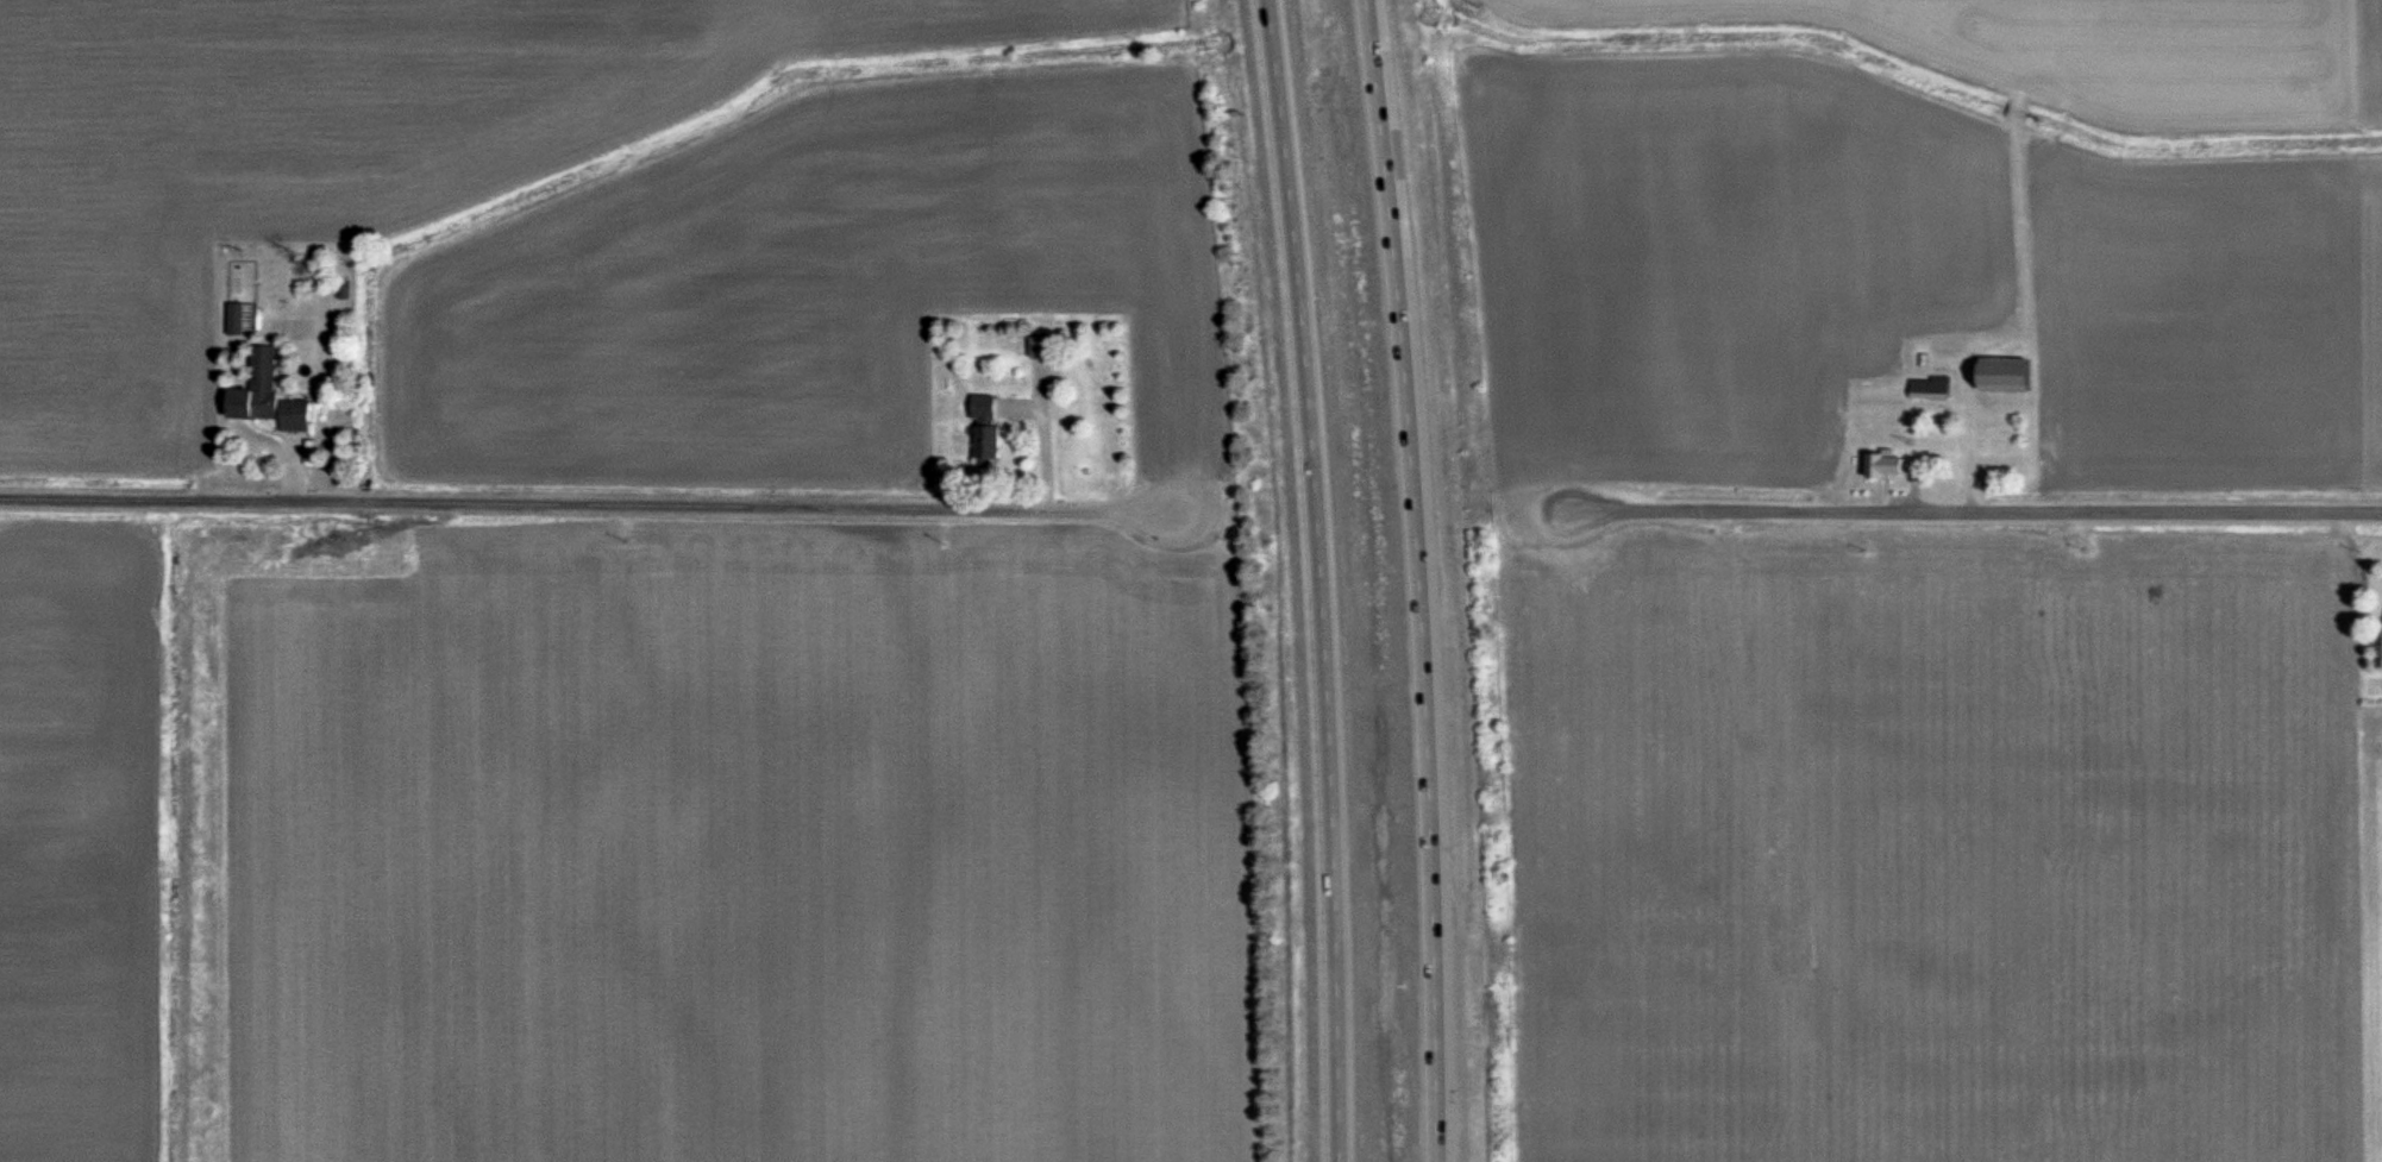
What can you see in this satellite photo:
building: (1040, 348)
building: (2002, 376)
building: (1930, 388)
building: (256, 389)
building: (294, 415)
building: (985, 429)
building: (1885, 466)
road: (584, 500)
road: (1976, 511)
road: (1315, 579)
road: (1421, 579)

